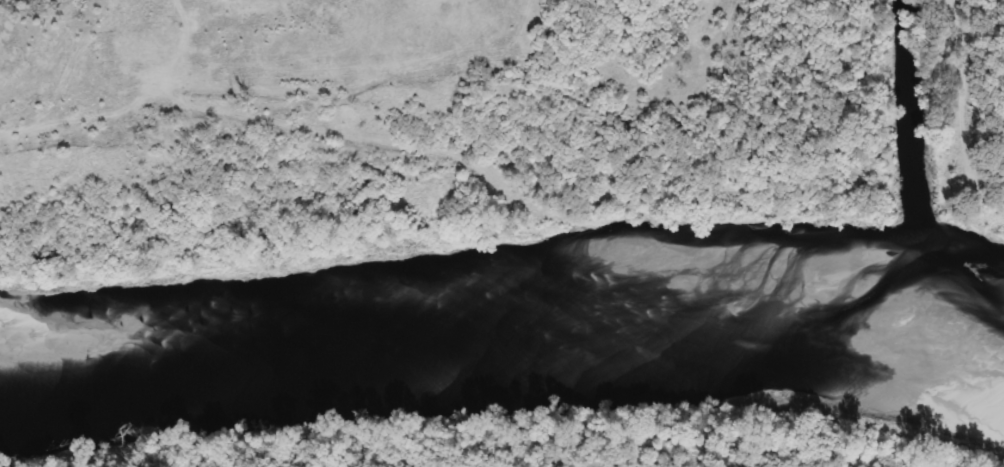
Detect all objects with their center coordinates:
river: (496, 285)

